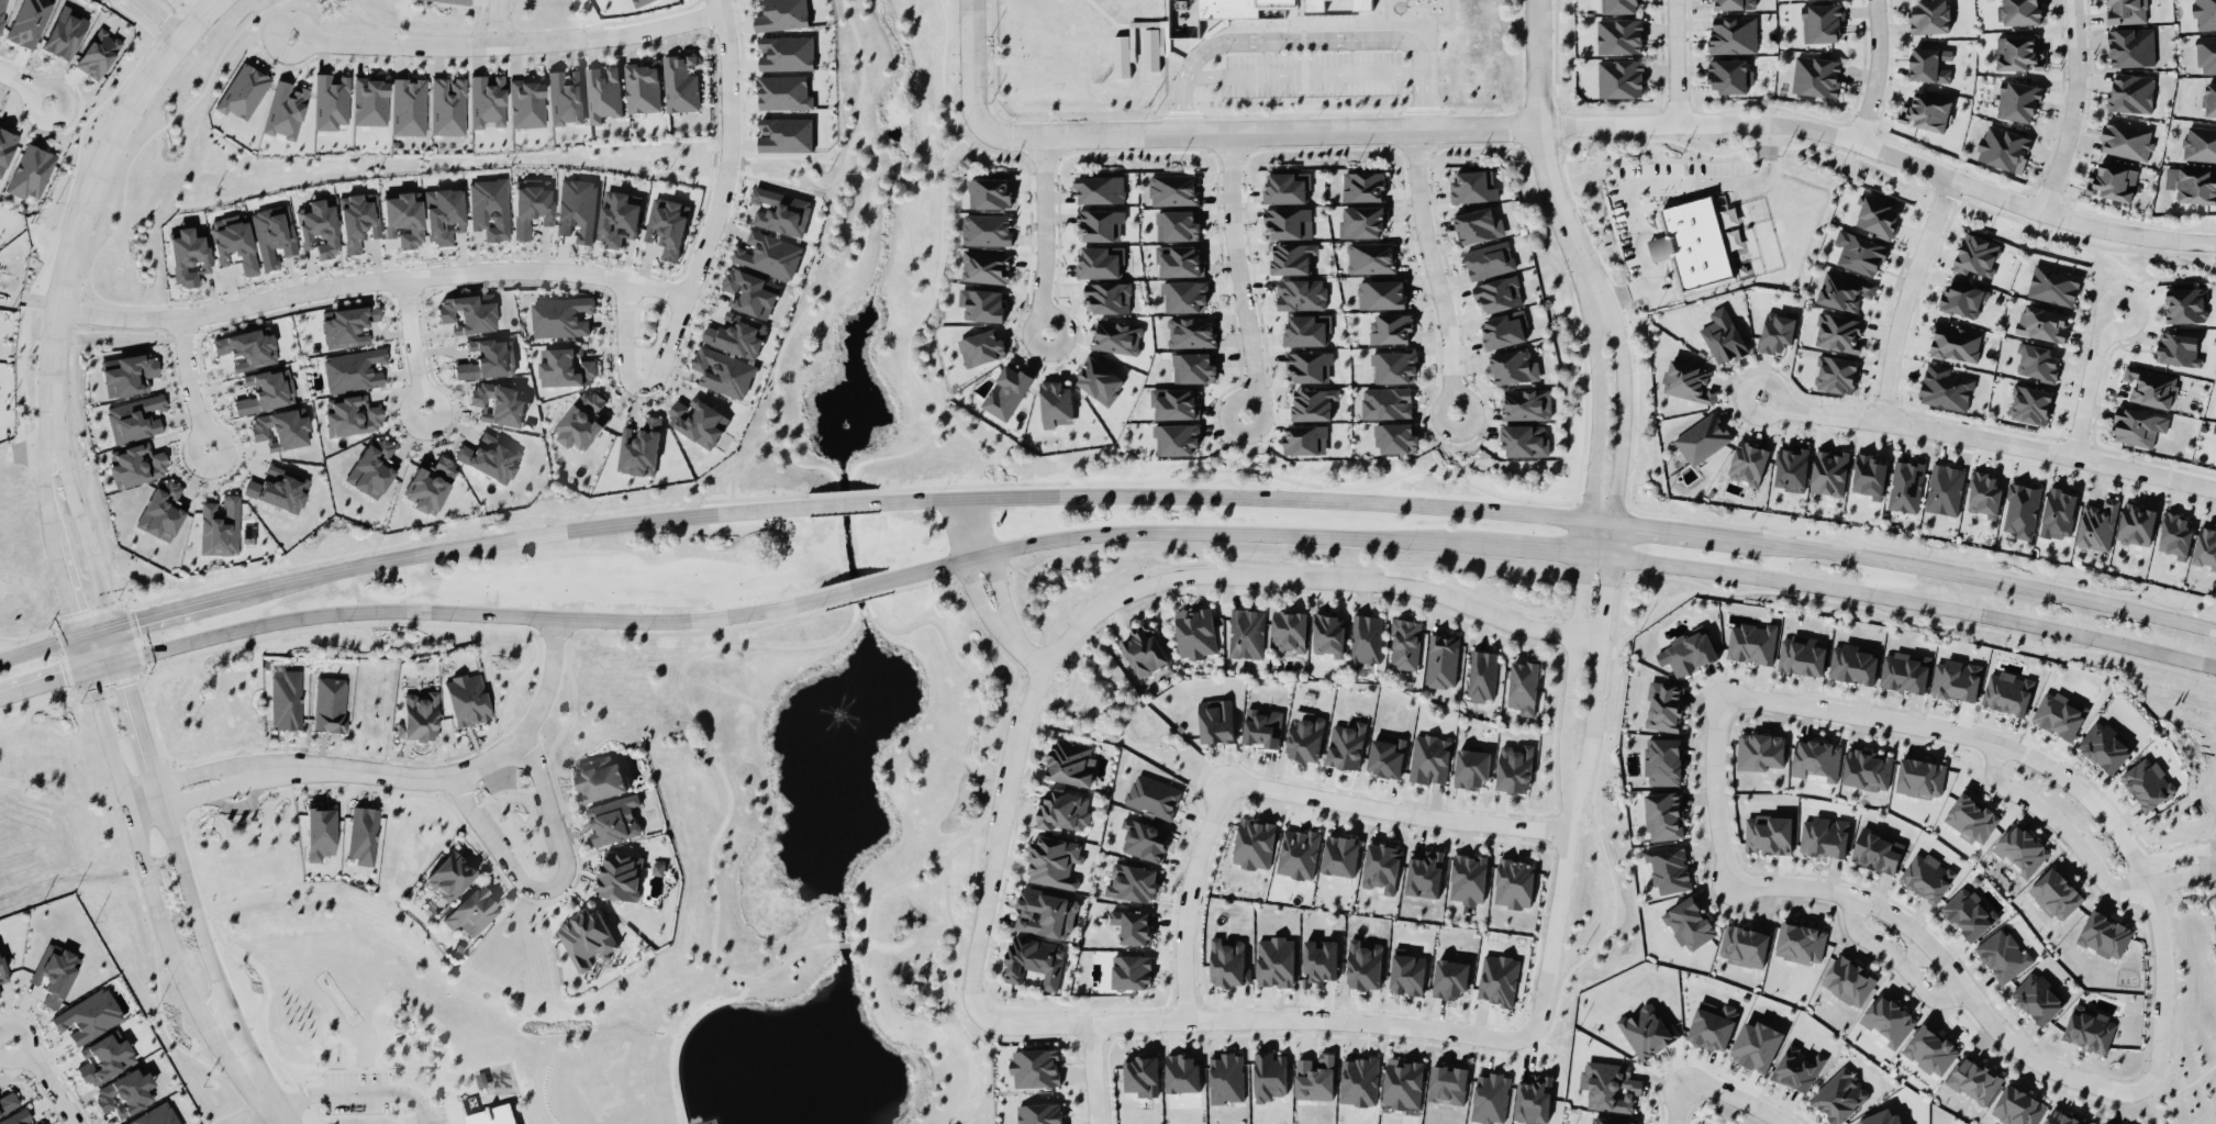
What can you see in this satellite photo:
building: (455, 1)
building: (641, 2)
building: (1735, 3)
building: (1181, 4)
building: (1337, 5)
building: (1619, 5)
road: (188, 9)
building: (1151, 9)
building: (1241, 9)
building: (2, 11)
building: (2018, 11)
building: (2125, 11)
building: (2203, 13)
building: (782, 14)
building: (1928, 15)
road: (164, 18)
building: (27, 22)
road: (497, 22)
building: (1822, 22)
building: (65, 32)
building: (1731, 33)
building: (1619, 35)
road: (1307, 38)
road: (508, 44)
building: (2130, 46)
building: (1152, 48)
building: (98, 53)
building: (787, 53)
building: (2017, 53)
building: (2205, 53)
road: (1674, 62)
building: (1928, 64)
road: (1556, 69)
road: (1875, 71)
parking lot: (1312, 73)
road: (1304, 74)
building: (1727, 76)
building: (1816, 76)
building: (1621, 77)
building: (681, 84)
road: (24, 85)
building: (643, 87)
building: (243, 91)
road: (859, 91)
building: (2129, 91)
building: (603, 92)
building: (783, 92)
building: (565, 97)
building: (2209, 98)
building: (370, 99)
building: (330, 100)
building: (487, 100)
building: (2017, 100)
building: (526, 101)
building: (447, 105)
building: (408, 107)
road: (2073, 107)
building: (285, 110)
building: (1925, 111)
road: (949, 115)
road: (1544, 126)
building: (786, 134)
building: (2126, 138)
building: (2198, 143)
road: (1010, 146)
building: (5, 147)
building: (2002, 147)
road: (1545, 152)
building: (31, 171)
road: (1889, 173)
road: (897, 175)
road: (810, 177)
building: (2112, 180)
road: (1649, 181)
building: (2191, 182)
building: (1472, 185)
building: (1362, 186)
building: (1287, 187)
building: (1100, 189)
building: (1172, 189)
building: (989, 192)
road: (86, 200)
building: (531, 204)
building: (489, 208)
building: (577, 208)
building: (780, 211)
building: (443, 214)
building: (403, 218)
building: (1878, 218)
building: (620, 219)
building: (358, 220)
building: (1361, 220)
building: (1288, 223)
building: (1099, 224)
building: (1177, 225)
building: (1479, 225)
building: (667, 226)
building: (319, 227)
building: (987, 229)
road: (911, 230)
building: (272, 234)
road: (1045, 237)
building: (233, 241)
building: (1697, 243)
building: (1859, 253)
building: (188, 255)
building: (768, 255)
building: (1975, 255)
building: (1371, 257)
road: (700, 258)
building: (1292, 258)
building: (1179, 259)
building: (1489, 259)
building: (1100, 260)
building: (985, 266)
road: (1435, 272)
road: (1238, 275)
road: (370, 281)
building: (2053, 283)
building: (1844, 288)
building: (750, 292)
building: (1301, 293)
building: (1185, 294)
building: (1381, 294)
building: (1497, 294)
road: (1905, 296)
building: (1107, 298)
building: (1962, 298)
building: (981, 303)
building: (2185, 303)
building: (467, 312)
building: (561, 315)
building: (2042, 323)
building: (348, 325)
road: (912, 329)
building: (1777, 329)
building: (1307, 330)
building: (1503, 330)
building: (1839, 330)
building: (1191, 331)
building: (737, 334)
building: (1116, 336)
building: (1724, 336)
building: (1956, 343)
road: (412, 345)
building: (247, 347)
building: (981, 347)
building: (2178, 349)
building: (487, 357)
building: (2036, 361)
building: (1193, 366)
building: (1393, 366)
building: (1514, 366)
building: (1309, 367)
building: (566, 368)
building: (353, 369)
building: (723, 371)
building: (127, 372)
building: (1836, 374)
road: (2089, 378)
building: (1688, 379)
building: (1099, 380)
road: (190, 385)
building: (2151, 386)
building: (1945, 388)
building: (1009, 389)
building: (266, 390)
building: (1173, 402)
building: (1387, 402)
building: (498, 403)
building: (1056, 403)
building: (1313, 403)
building: (1526, 403)
building: (2029, 403)
building: (352, 414)
building: (134, 418)
building: (582, 420)
building: (699, 422)
road: (1623, 423)
road: (1596, 425)
building: (2138, 426)
building: (281, 427)
building: (1703, 436)
building: (1397, 437)
road: (1990, 437)
building: (1176, 438)
building: (1305, 438)
building: (1525, 439)
building: (639, 447)
building: (490, 457)
road: (739, 459)
building: (1747, 461)
building: (136, 465)
building: (372, 467)
building: (1792, 467)
building: (1829, 471)
building: (1870, 476)
building: (428, 483)
building: (1906, 486)
building: (279, 488)
building: (1945, 489)
building: (1983, 492)
road: (1233, 496)
road: (843, 503)
building: (162, 510)
building: (2022, 510)
building: (2058, 513)
building: (2097, 524)
building: (2136, 524)
road: (1650, 525)
building: (220, 526)
road: (85, 528)
road: (1173, 530)
building: (2175, 535)
road: (499, 539)
building: (2205, 546)
road: (1536, 548)
road: (1831, 549)
road: (992, 566)
road: (968, 575)
road: (857, 588)
road: (1134, 592)
road: (2083, 598)
road: (1914, 601)
road: (868, 604)
road: (471, 611)
road: (154, 614)
traffic signals: (74, 615)
traffic signals: (131, 621)
road: (96, 630)
road: (725, 630)
building: (1289, 631)
building: (1194, 632)
building: (1246, 632)
building: (1328, 634)
building: (1366, 639)
road: (118, 642)
building: (1403, 643)
building: (1751, 643)
road: (806, 645)
road: (40, 646)
building: (1144, 648)
road: (1027, 652)
building: (1690, 652)
building: (1802, 655)
building: (1441, 660)
building: (1853, 663)
building: (1904, 670)
road: (1571, 672)
building: (1481, 675)
road: (1596, 676)
road: (60, 677)
traffic signals: (60, 678)
traffic signals: (129, 678)
building: (1956, 680)
road: (82, 681)
building: (1523, 687)
building: (2007, 692)
building: (286, 698)
road: (37, 699)
building: (466, 699)
building: (330, 703)
building: (1664, 705)
road: (138, 712)
building: (2059, 714)
building: (419, 715)
fountain: (842, 721)
building: (1215, 721)
building: (1261, 727)
building: (1305, 736)
road: (109, 741)
building: (1346, 745)
building: (2104, 745)
building: (1760, 752)
building: (1387, 757)
building: (1815, 758)
building: (1429, 759)
building: (1070, 761)
building: (1663, 761)
building: (1471, 767)
building: (1514, 768)
building: (1867, 769)
road: (200, 771)
road: (449, 771)
road: (2059, 774)
road: (156, 775)
building: (1920, 778)
building: (601, 779)
road: (503, 788)
road: (1713, 791)
road: (205, 792)
road: (142, 793)
road: (162, 794)
building: (1152, 795)
road: (145, 804)
building: (1062, 809)
road: (1394, 812)
building: (1664, 815)
building: (1971, 819)
building: (613, 820)
road: (2061, 823)
road: (976, 828)
building: (319, 832)
building: (363, 834)
building: (1769, 834)
building: (1824, 836)
building: (1145, 839)
building: (1254, 843)
building: (2020, 850)
building: (1875, 852)
building: (1298, 853)
building: (1340, 855)
road: (2174, 856)
building: (1054, 861)
road: (944, 866)
building: (1381, 867)
building: (1669, 868)
building: (1425, 873)
building: (449, 875)
building: (620, 876)
building: (1928, 877)
road: (2180, 877)
building: (1468, 878)
building: (1133, 882)
building: (1514, 882)
road: (553, 886)
building: (2056, 893)
road: (1185, 897)
building: (471, 911)
building: (1045, 912)
building: (1969, 913)
road: (1555, 915)
road: (197, 916)
road: (148, 923)
building: (1689, 923)
building: (1133, 926)
building: (2104, 934)
building: (586, 938)
road: (844, 943)
building: (1801, 943)
building: (1744, 945)
building: (2003, 955)
road: (1896, 957)
building: (1035, 961)
building: (1276, 961)
building: (1318, 962)
building: (1228, 964)
building: (1363, 965)
road: (1949, 969)
building: (1132, 971)
building: (1406, 972)
building: (55, 973)
building: (1450, 978)
building: (1497, 979)
building: (1848, 980)
building: (2037, 995)
road: (951, 1000)
building: (87, 1015)
building: (1889, 1019)
road: (1251, 1020)
park: (372, 1023)
building: (1712, 1025)
road: (261, 1027)
building: (2090, 1028)
building: (1647, 1031)
road: (681, 1033)
road: (1031, 1037)
building: (1757, 1045)
building: (1930, 1050)
building: (103, 1057)
building: (1035, 1068)
building: (1797, 1068)
road: (1092, 1072)
road: (300, 1073)
building: (1181, 1073)
building: (1142, 1075)
building: (1269, 1076)
road: (46, 1077)
road: (249, 1077)
building: (1315, 1077)
building: (1226, 1078)
building: (1974, 1080)
building: (1358, 1081)
building: (1403, 1082)
building: (1448, 1084)
building: (1610, 1086)
road: (357, 1091)
building: (125, 1092)
road: (489, 1092)
road: (304, 1094)
building: (1839, 1097)
building: (1490, 1098)
road: (1731, 1098)
building: (1533, 1099)
building: (8, 1102)
road: (1675, 1104)
building: (2018, 1106)
building: (1039, 1113)
building: (155, 1115)
building: (493, 1115)
building: (16, 1117)
building: (1880, 1117)
building: (2060, 1117)
road: (266, 1119)
building: (1612, 1121)
building: (42, 1123)
building: (2103, 1123)

